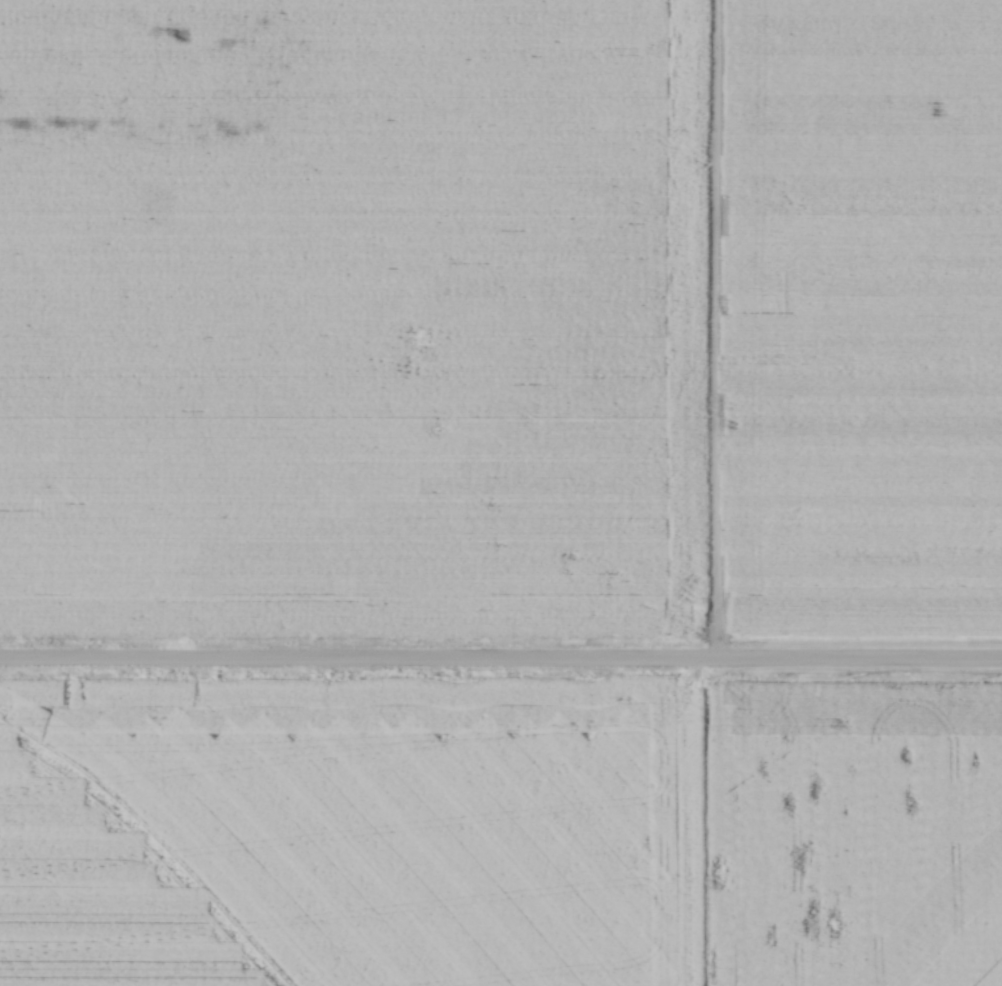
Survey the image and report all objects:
road: (500, 659)

